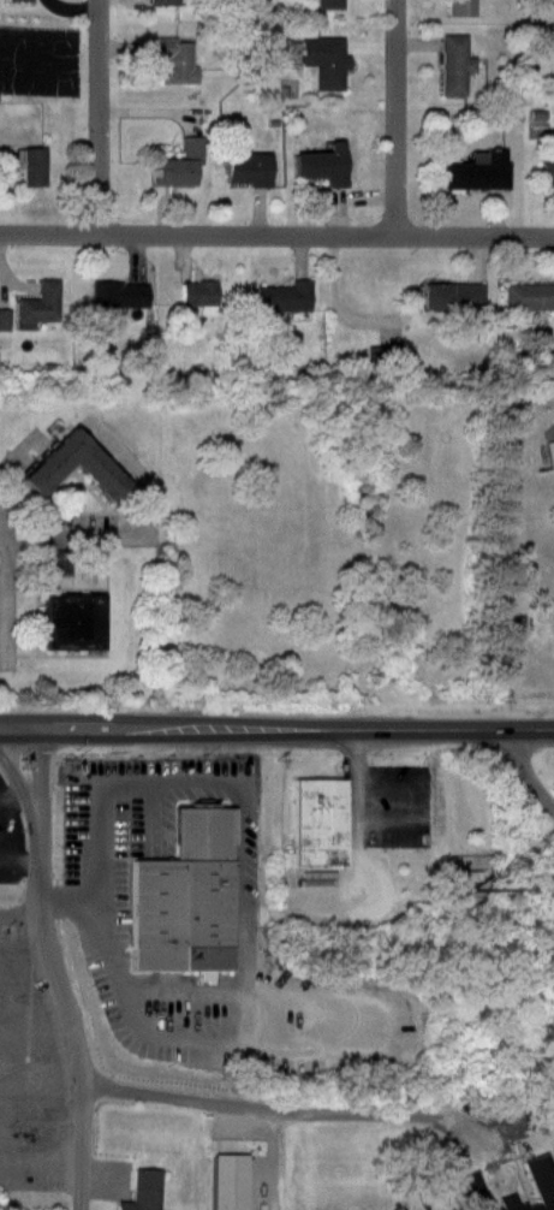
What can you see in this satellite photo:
building: (18, 1)
building: (36, 1)
building: (163, 2)
building: (329, 5)
building: (461, 8)
building: (173, 59)
building: (326, 61)
building: (454, 65)
road: (99, 118)
road: (393, 118)
building: (323, 164)
building: (177, 165)
building: (246, 168)
building: (548, 170)
building: (44, 171)
building: (476, 171)
road: (276, 236)
building: (196, 292)
building: (132, 296)
building: (215, 297)
building: (470, 297)
building: (537, 298)
building: (303, 303)
building: (53, 306)
building: (12, 321)
building: (401, 356)
building: (549, 452)
road: (142, 470)
building: (47, 473)
road: (1, 478)
parking lot: (73, 524)
road: (73, 535)
building: (56, 565)
road: (8, 599)
parking lot: (4, 616)
building: (73, 624)
road: (276, 730)
road: (523, 781)
road: (219, 785)
road: (416, 806)
parking lot: (399, 807)
road: (355, 809)
building: (318, 823)
parking lot: (82, 835)
parking lot: (12, 843)
parking lot: (248, 861)
parking lot: (115, 900)
building: (185, 900)
road: (49, 967)
parking lot: (117, 1008)
parking lot: (191, 1015)
parking lot: (312, 1024)
road: (294, 1048)
road: (302, 1113)
building: (227, 1181)
building: (535, 1186)
building: (142, 1192)
building: (470, 1192)

